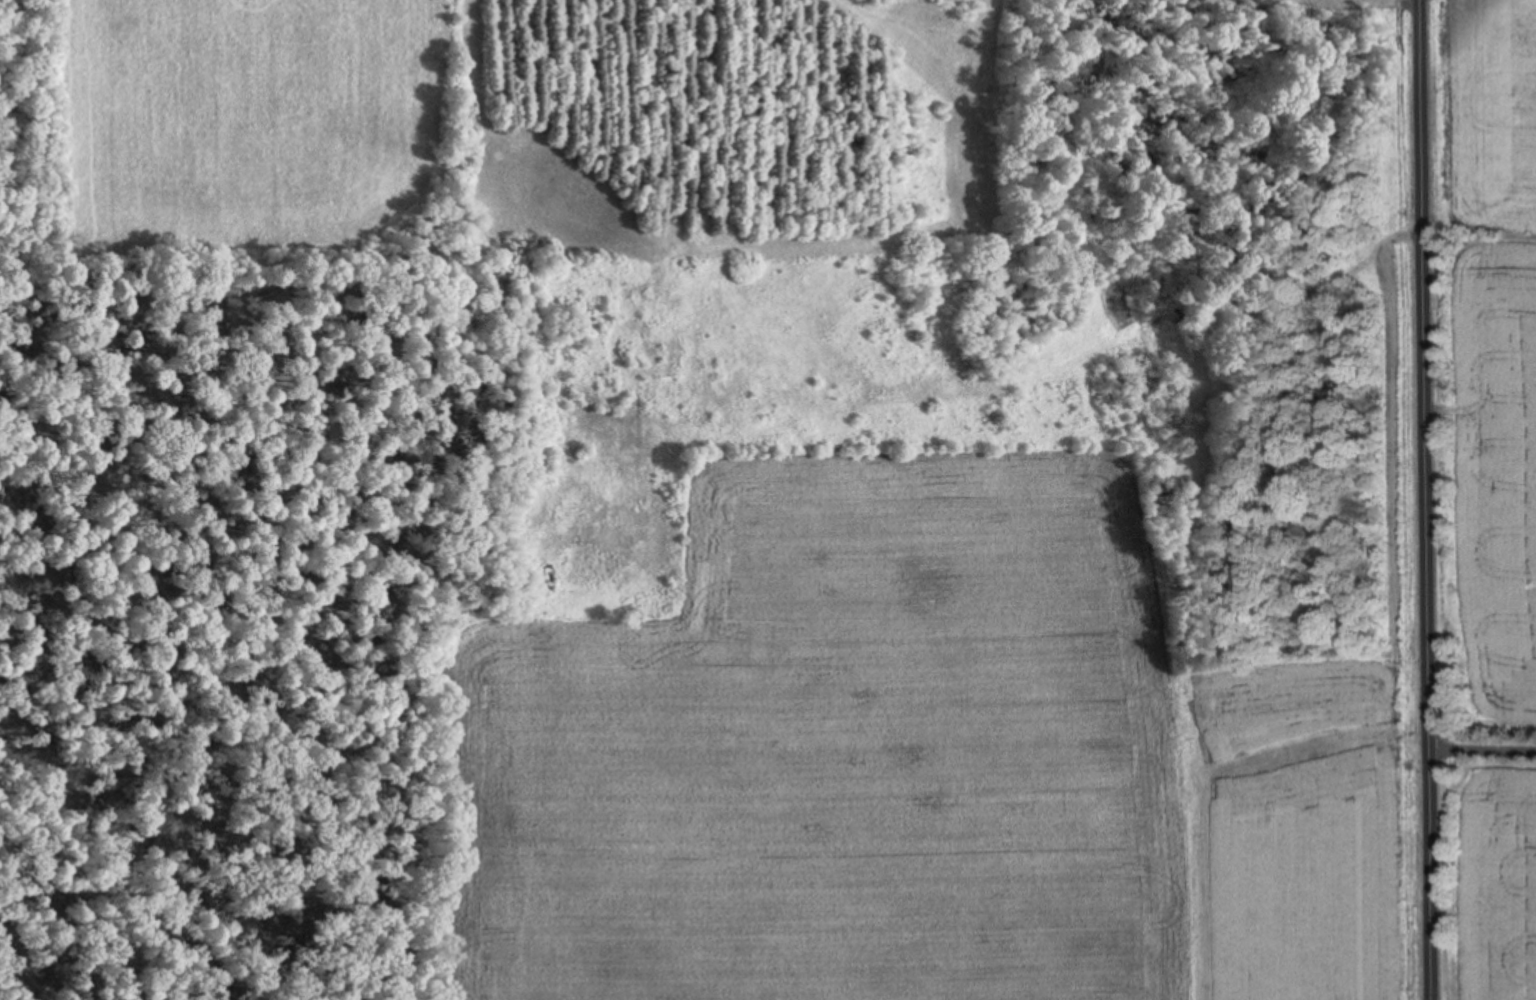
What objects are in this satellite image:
road: (1424, 500)

